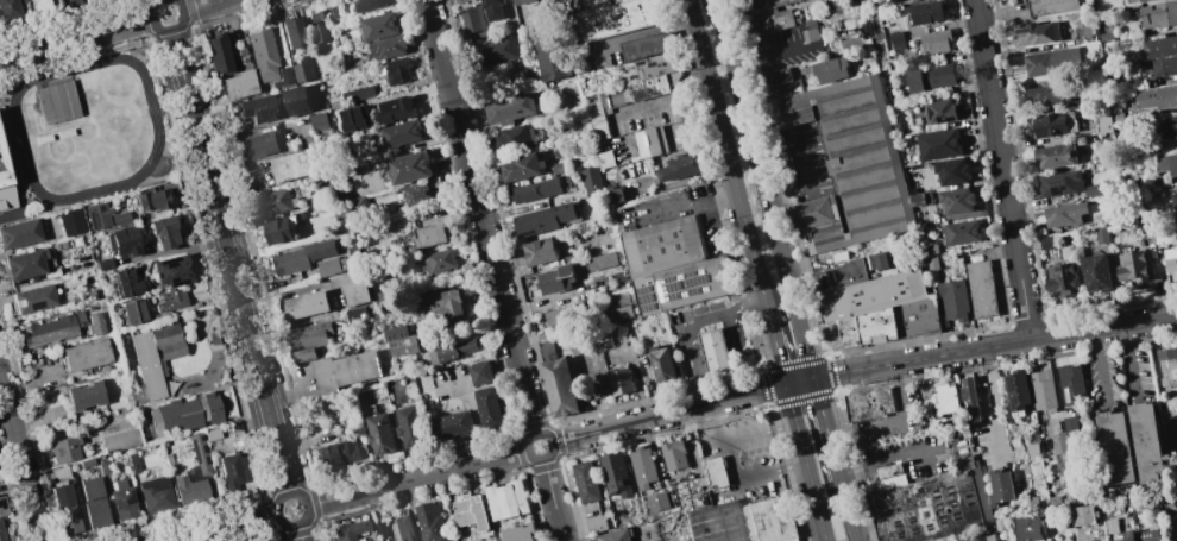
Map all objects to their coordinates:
building: (87, 0)
building: (458, 0)
building: (893, 0)
building: (1143, 0)
building: (522, 1)
building: (40, 2)
building: (69, 2)
building: (8, 4)
building: (370, 4)
road: (204, 5)
building: (1049, 6)
building: (492, 8)
building: (331, 12)
building: (924, 12)
building: (1158, 14)
building: (766, 15)
building: (621, 18)
building: (472, 19)
building: (320, 26)
building: (379, 26)
road: (169, 31)
building: (292, 32)
building: (811, 32)
building: (1037, 33)
road: (76, 38)
building: (896, 40)
building: (934, 40)
building: (647, 45)
building: (388, 46)
building: (1162, 46)
building: (495, 50)
building: (241, 51)
building: (216, 54)
building: (263, 54)
road: (773, 57)
building: (550, 58)
building: (1051, 62)
rooftop solar panel: (646, 64)
rooftop solar panel: (655, 65)
building: (1164, 67)
building: (831, 69)
building: (303, 70)
building: (397, 70)
building: (285, 76)
building: (774, 76)
building: (938, 76)
building: (652, 77)
building: (914, 80)
building: (238, 83)
building: (357, 94)
building: (1046, 94)
building: (1157, 96)
building: (296, 100)
road: (662, 102)
building: (257, 108)
building: (508, 108)
rooftop solar panel: (298, 109)
building: (396, 109)
building: (939, 112)
building: (596, 113)
rooftop solar panel: (266, 115)
building: (1118, 117)
building: (351, 119)
track: (17, 121)
building: (317, 121)
building: (1102, 124)
building: (1050, 125)
building: (1166, 126)
park: (88, 128)
building: (401, 133)
building: (514, 137)
rooftop solar panel: (650, 140)
building: (649, 141)
building: (259, 144)
building: (939, 144)
road: (725, 153)
building: (1056, 156)
road: (802, 162)
parking lot: (806, 162)
building: (850, 163)
building: (1167, 164)
building: (294, 165)
building: (409, 166)
building: (520, 166)
building: (680, 166)
building: (558, 168)
road: (1001, 169)
building: (951, 171)
building: (590, 180)
building: (1153, 181)
building: (509, 183)
building: (1059, 183)
building: (6, 185)
building: (539, 188)
road: (766, 188)
building: (1176, 188)
building: (1093, 189)
rooftop solar panel: (1060, 190)
building: (416, 194)
building: (613, 195)
building: (917, 199)
building: (152, 200)
building: (956, 200)
building: (1173, 200)
building: (273, 201)
building: (359, 203)
road: (697, 206)
building: (96, 214)
building: (304, 214)
building: (1063, 214)
road: (480, 216)
building: (1176, 216)
building: (120, 218)
building: (542, 219)
building: (70, 221)
building: (347, 222)
building: (281, 229)
building: (19, 232)
building: (163, 232)
building: (961, 232)
rooftop solar panel: (528, 233)
building: (430, 234)
building: (1100, 234)
building: (122, 243)
building: (1046, 243)
building: (665, 246)
building: (929, 249)
building: (539, 251)
building: (353, 252)
building: (301, 257)
building: (439, 260)
building: (1171, 260)
road: (231, 262)
building: (602, 262)
building: (881, 262)
building: (27, 263)
building: (931, 263)
building: (103, 264)
building: (331, 265)
building: (1132, 266)
building: (172, 270)
building: (848, 272)
building: (1095, 272)
rooftop solar panel: (692, 275)
building: (1062, 278)
building: (555, 279)
rooftop solar panel: (672, 281)
building: (125, 282)
rooftop solar panel: (697, 282)
building: (685, 284)
rooftop solar panel: (674, 285)
building: (981, 289)
rooftop solar panel: (646, 290)
rooftop solar panel: (695, 290)
rooftop solar panel: (661, 291)
building: (357, 292)
building: (90, 295)
building: (871, 295)
rooftop solar panel: (675, 296)
building: (33, 298)
rooftop solar panel: (647, 298)
building: (171, 300)
building: (953, 300)
rooftop solar panel: (17, 303)
building: (447, 303)
rooftop solar panel: (34, 304)
building: (306, 304)
rooftop solar panel: (650, 308)
building: (132, 312)
building: (619, 313)
building: (355, 315)
building: (564, 315)
building: (917, 317)
building: (95, 322)
road: (681, 325)
building: (877, 326)
building: (49, 328)
building: (850, 332)
building: (213, 336)
building: (605, 339)
building: (307, 340)
building: (399, 341)
road: (775, 346)
road: (730, 348)
building: (715, 350)
building: (452, 351)
building: (84, 354)
building: (153, 358)
road: (1128, 361)
building: (662, 363)
road: (1099, 366)
road: (861, 367)
building: (1166, 367)
building: (345, 370)
building: (480, 373)
traffic signals: (813, 377)
building: (619, 379)
building: (556, 380)
traffic signals: (786, 384)
rooftop solar panel: (1013, 384)
building: (1071, 384)
building: (1041, 390)
building: (1016, 391)
building: (84, 395)
rooftop solar panel: (1068, 396)
building: (969, 398)
building: (945, 400)
road: (994, 401)
rooftop solar panel: (1014, 401)
building: (867, 404)
building: (489, 408)
building: (188, 413)
road: (823, 415)
building: (451, 424)
building: (1069, 424)
building: (409, 426)
building: (1170, 430)
building: (212, 433)
building: (379, 434)
road: (547, 438)
building: (120, 440)
building: (1058, 441)
building: (1146, 442)
rooftop solar panel: (203, 448)
building: (1116, 448)
building: (64, 449)
rooftop solar panel: (195, 451)
building: (1033, 451)
building: (200, 454)
building: (335, 454)
building: (673, 454)
road: (898, 455)
road: (20, 460)
road: (734, 460)
building: (86, 461)
road: (805, 461)
building: (133, 463)
building: (103, 466)
building: (643, 466)
building: (231, 471)
building: (888, 471)
building: (716, 472)
building: (615, 474)
road: (418, 477)
building: (585, 482)
building: (1000, 486)
building: (189, 490)
building: (156, 493)
road: (844, 497)
building: (1069, 497)
rooftop solar panel: (130, 498)
road: (307, 498)
building: (122, 499)
building: (505, 499)
road: (552, 499)
building: (1033, 499)
building: (1053, 499)
building: (656, 501)
building: (93, 502)
rooftop solar panel: (118, 503)
building: (2, 505)
building: (932, 505)
building: (65, 509)
building: (468, 511)
building: (1083, 514)
building: (1112, 516)
building: (743, 521)
building: (430, 522)
building: (596, 524)
building: (1000, 524)
road: (222, 527)
building: (379, 528)
building: (403, 528)
building: (1027, 528)
building: (348, 529)
building: (518, 533)
road: (300, 534)
building: (5, 535)
building: (613, 535)
building: (1147, 535)
building: (1127, 536)
building: (983, 537)
building: (1175, 540)

